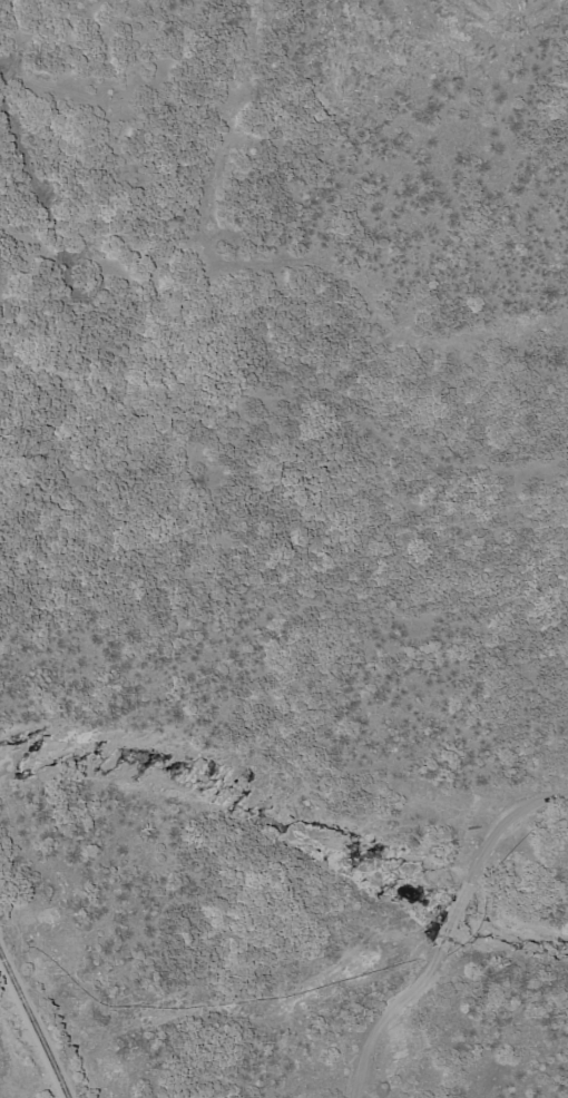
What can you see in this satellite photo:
railway: (31, 1028)

